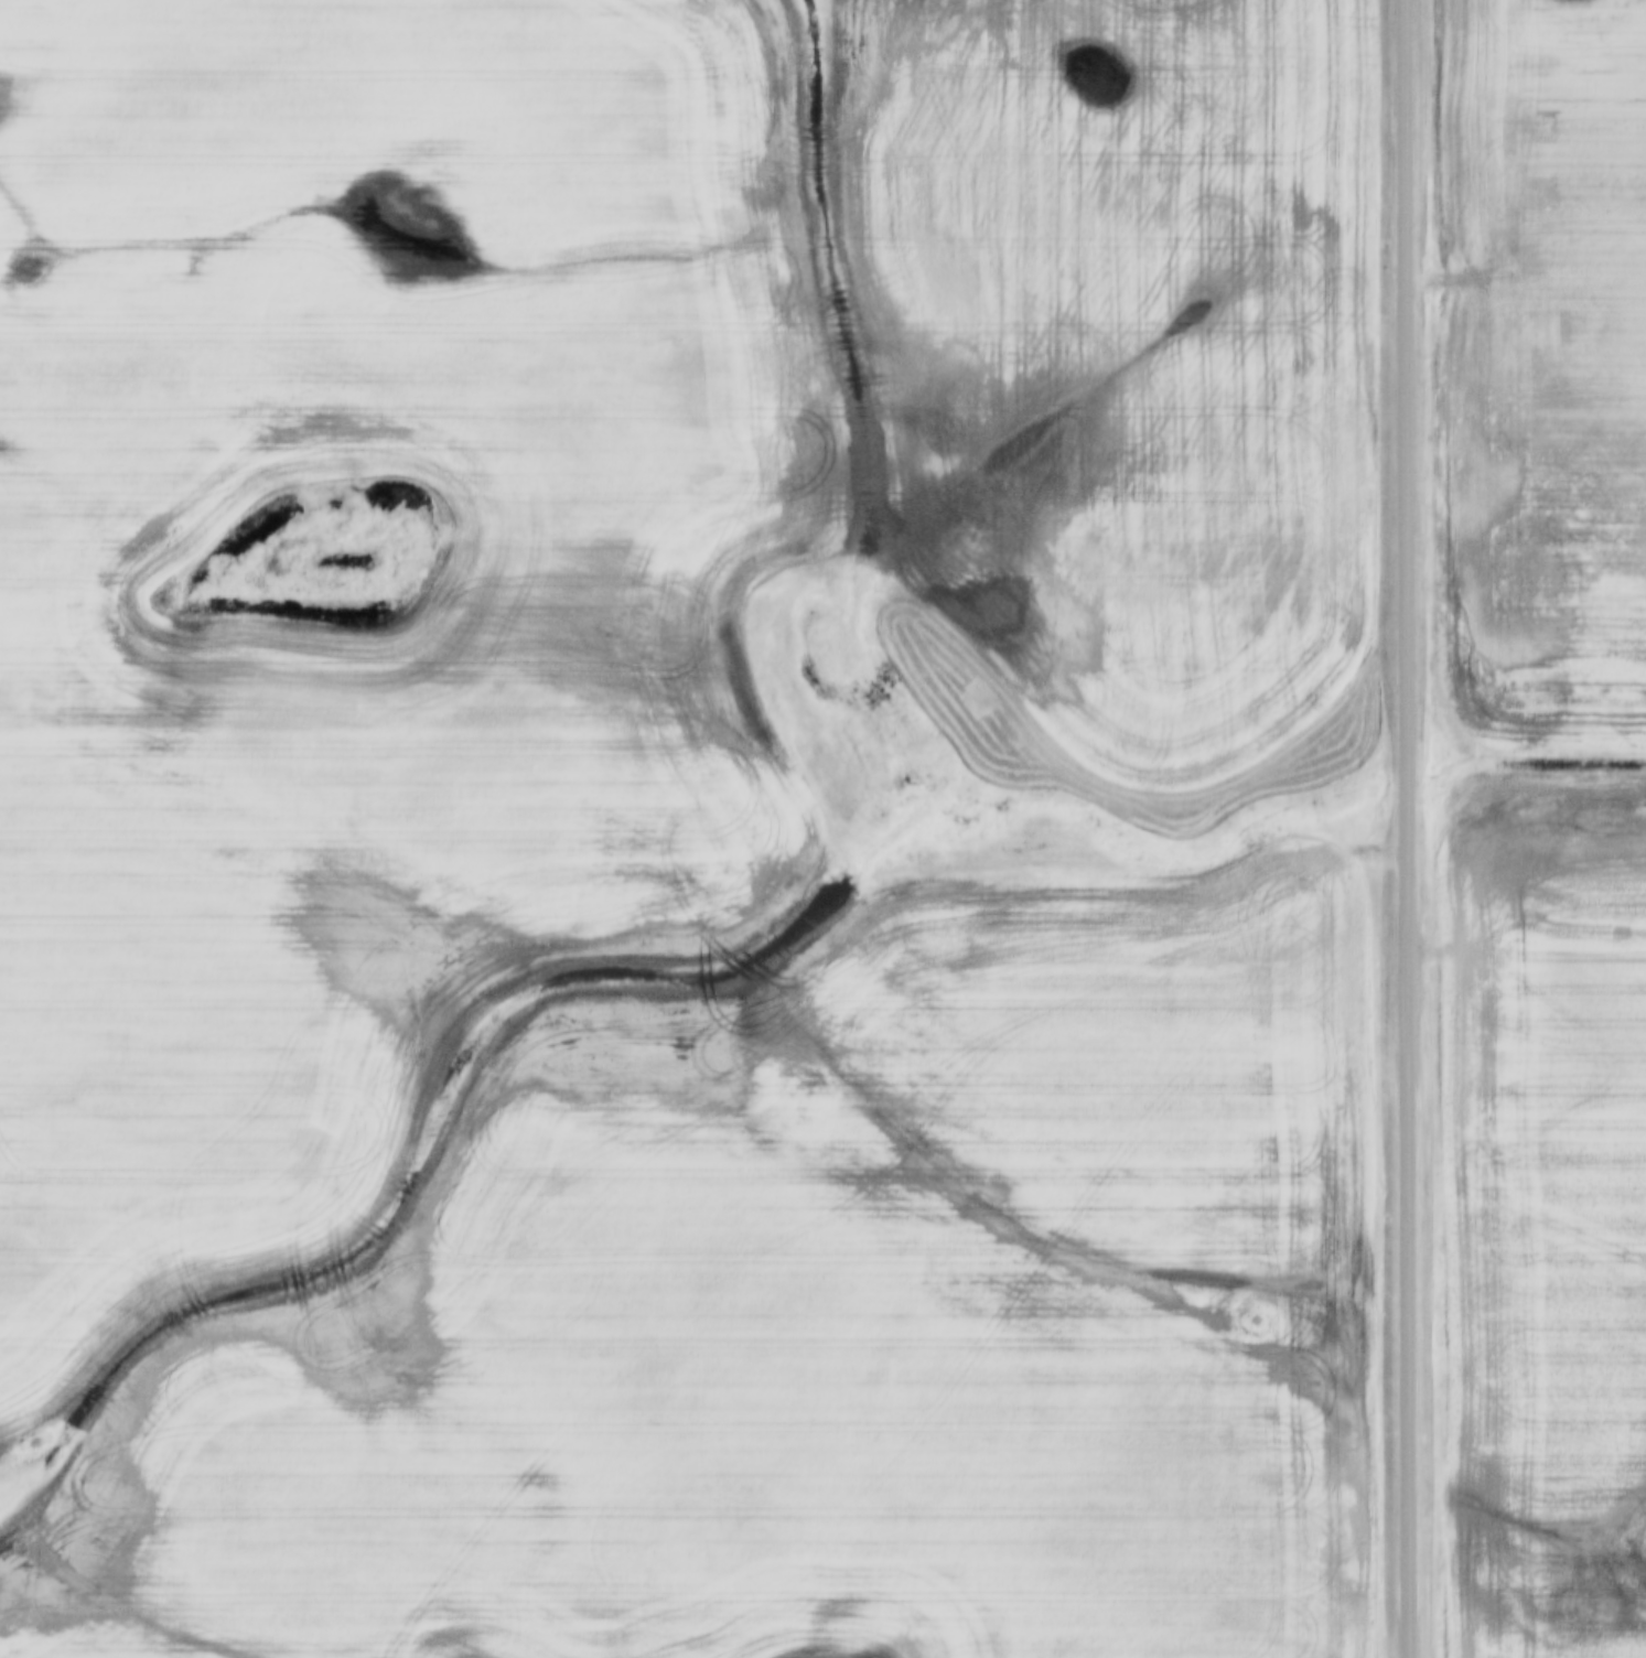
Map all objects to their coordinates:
road: (1407, 829)

